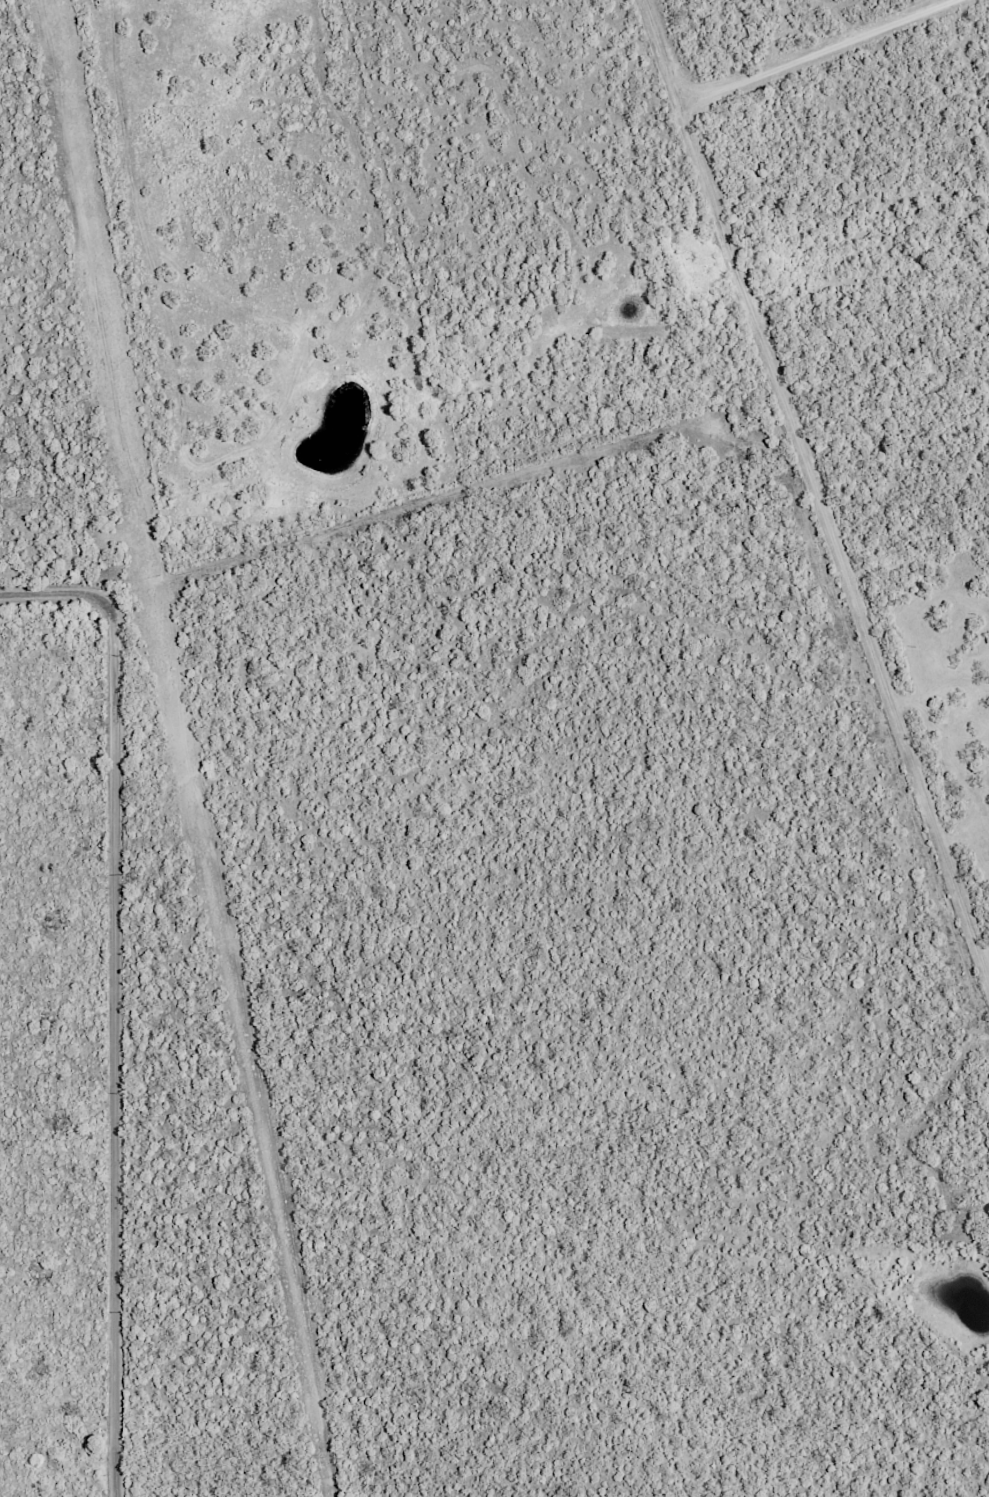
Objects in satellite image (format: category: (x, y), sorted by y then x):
road: (822, 53)
road: (818, 486)
road: (12, 681)
road: (43, 1010)
road: (104, 1053)
road: (6, 1137)
road: (52, 1278)
road: (41, 1387)

